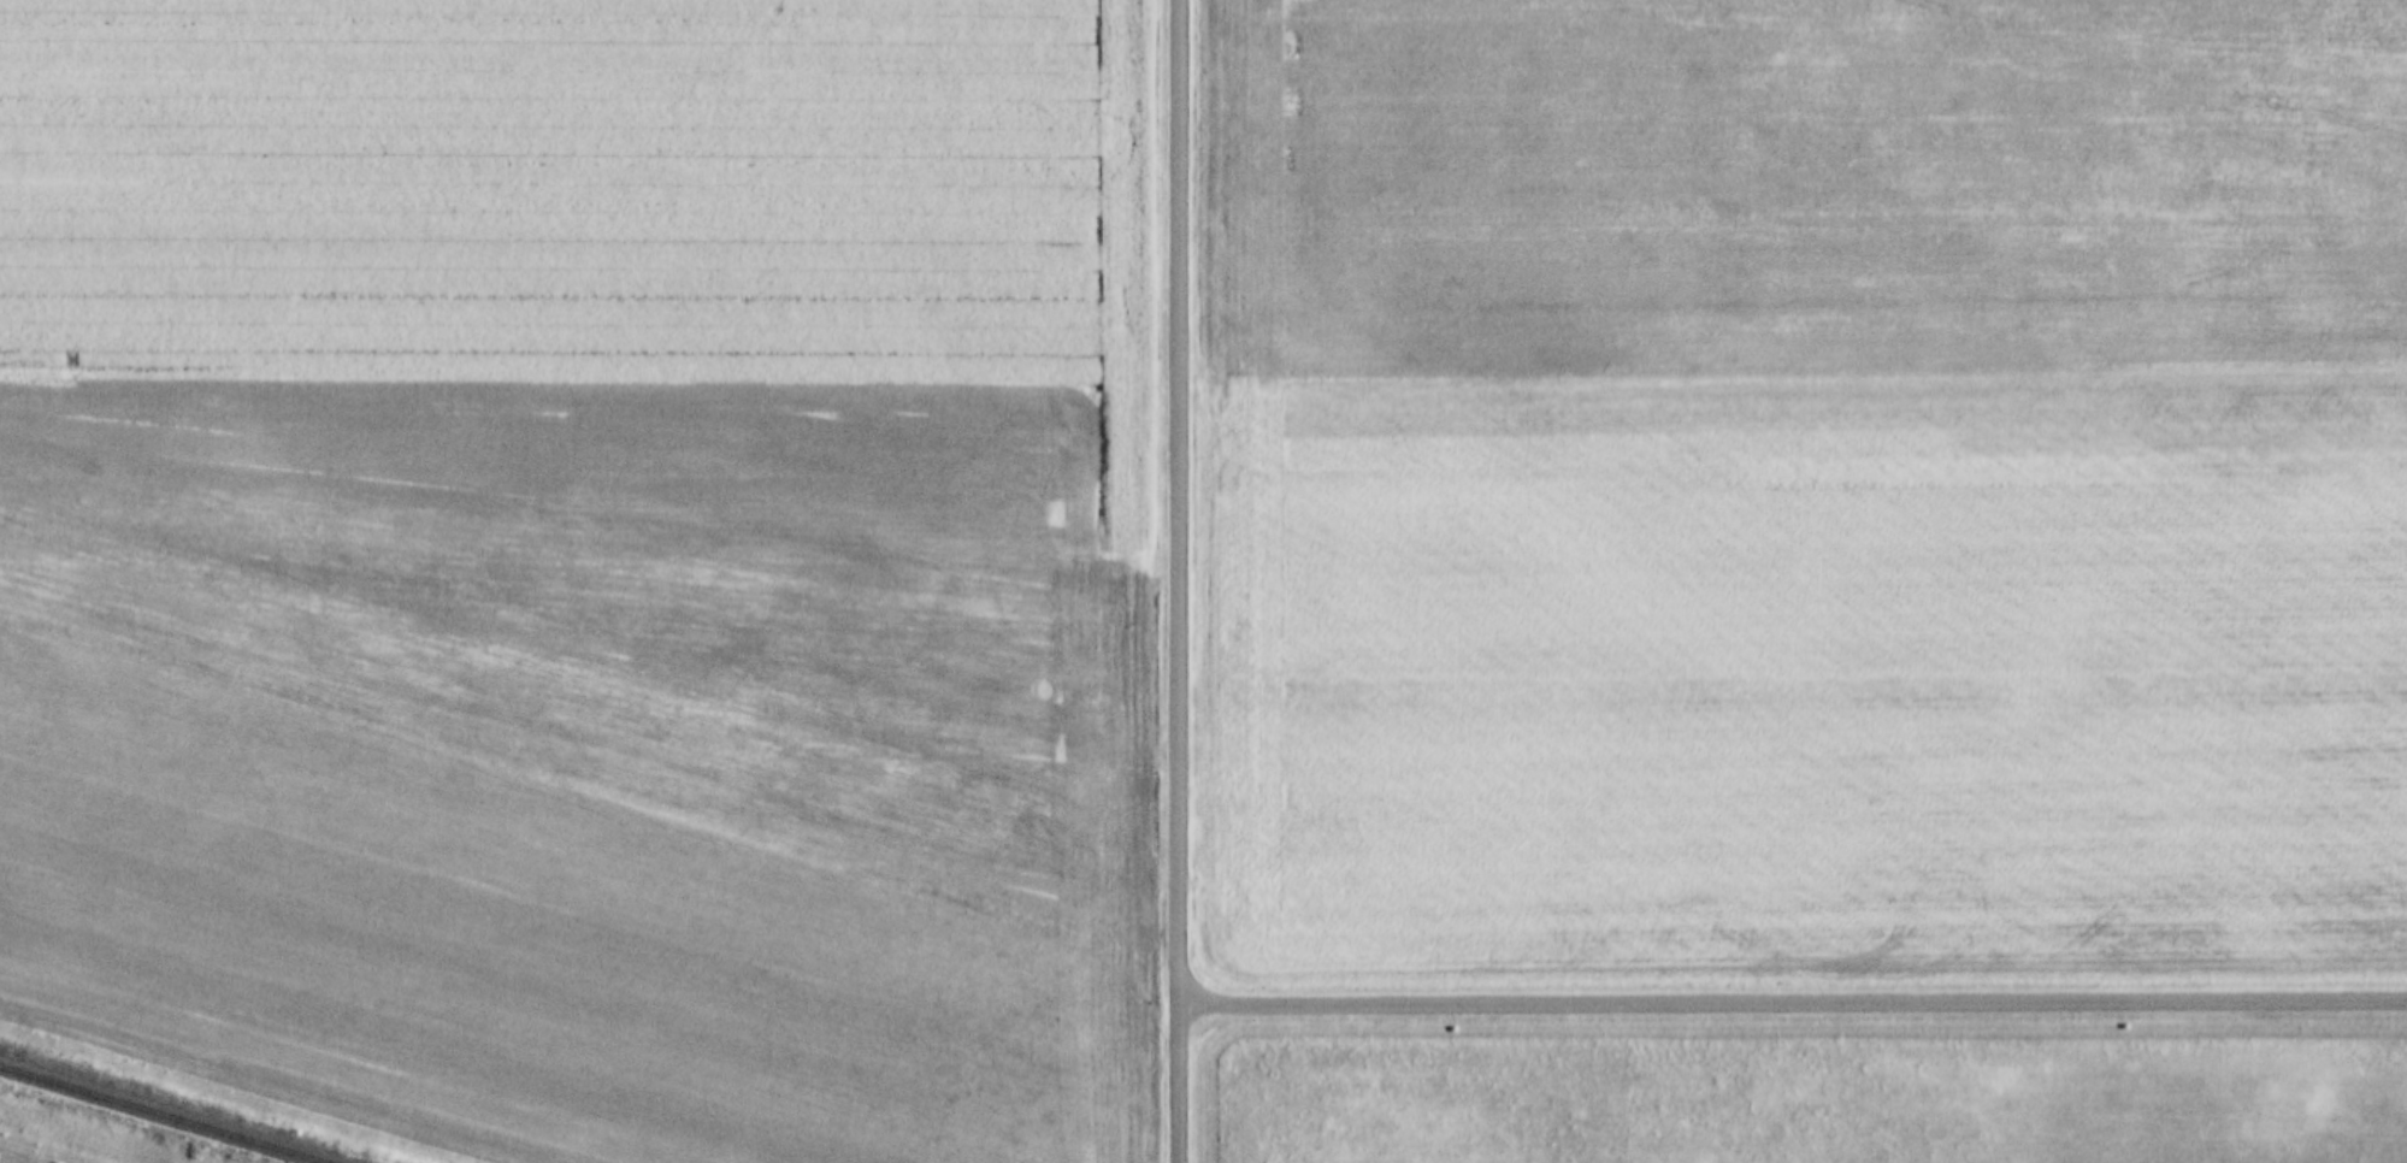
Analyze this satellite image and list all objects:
road: (1173, 580)
road: (1790, 998)
railway: (160, 1115)
road: (43, 1150)

